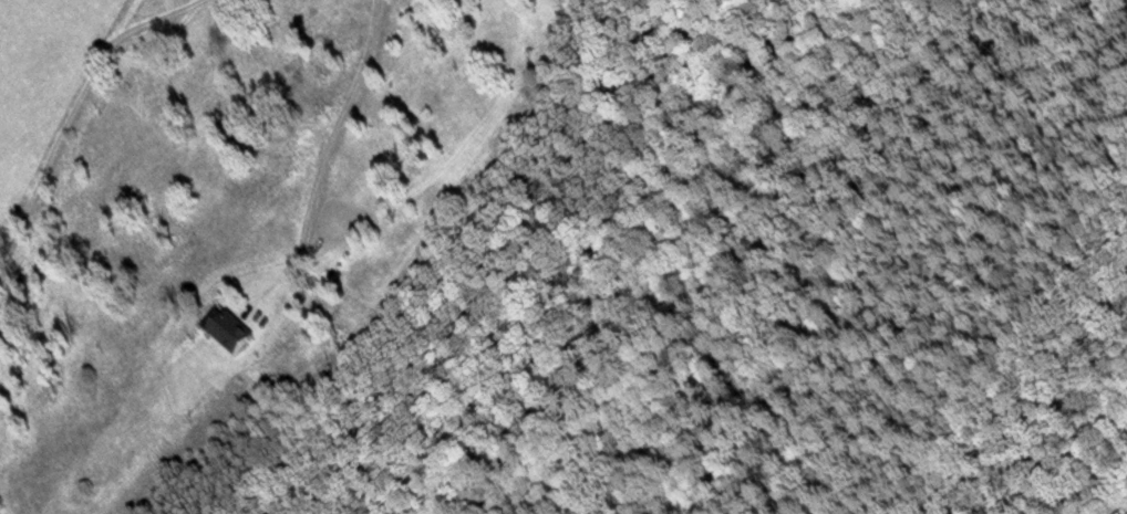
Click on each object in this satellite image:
road: (53, 25)
road: (73, 116)
road: (323, 160)
building: (228, 331)

